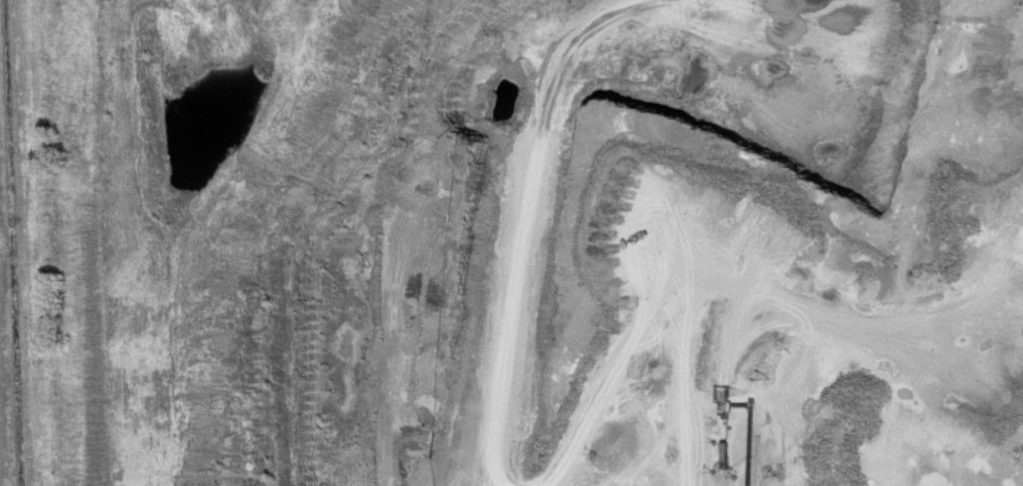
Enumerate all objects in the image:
quarry: (511, 243)

